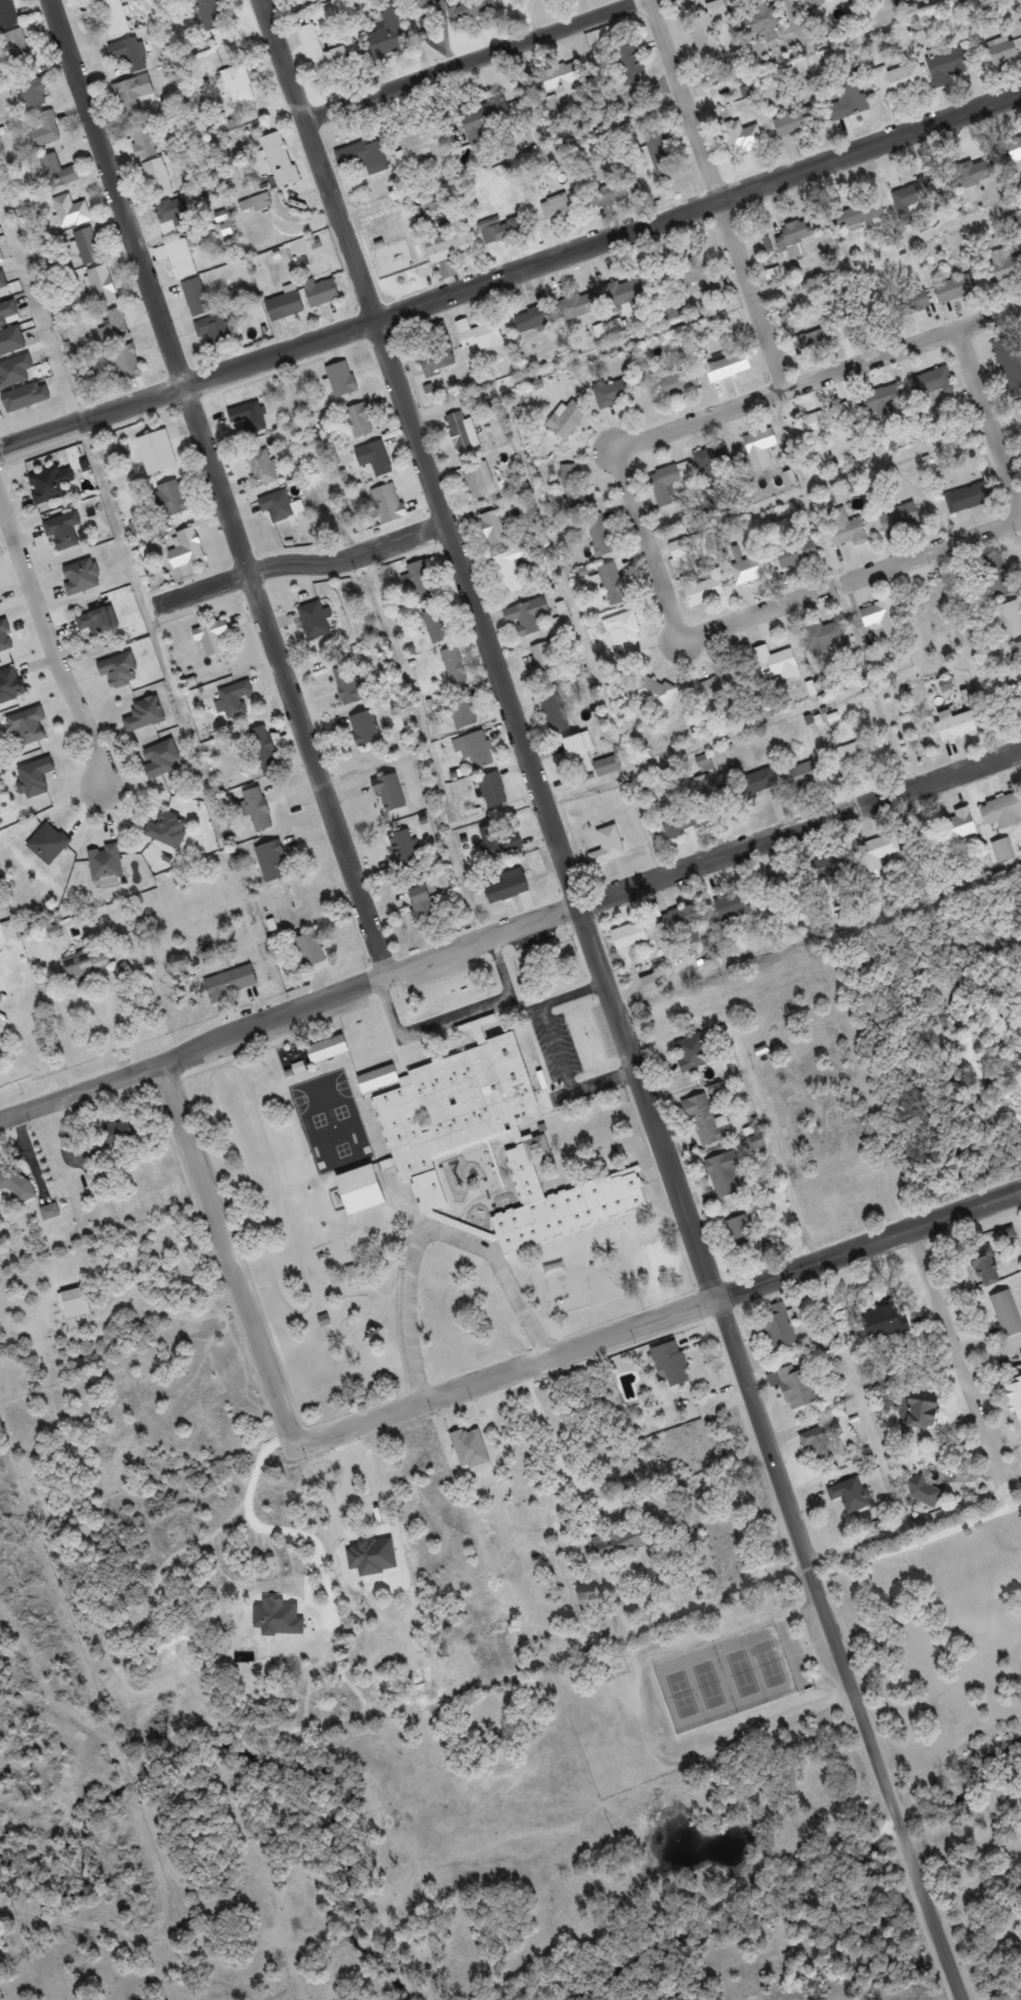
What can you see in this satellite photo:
building: (816, 2)
building: (469, 10)
building: (7, 14)
building: (211, 14)
building: (115, 17)
building: (760, 24)
building: (708, 33)
building: (386, 34)
building: (17, 48)
building: (128, 54)
road: (288, 55)
road: (478, 55)
building: (322, 56)
building: (1001, 56)
building: (631, 61)
building: (947, 66)
building: (563, 77)
building: (900, 80)
building: (237, 86)
building: (34, 93)
building: (131, 94)
building: (846, 102)
building: (483, 120)
building: (795, 123)
building: (45, 130)
building: (143, 142)
building: (746, 142)
building: (416, 145)
building: (1014, 150)
building: (660, 154)
building: (363, 156)
building: (279, 159)
building: (56, 172)
building: (977, 173)
building: (157, 179)
building: (915, 193)
road: (716, 195)
building: (607, 196)
building: (254, 202)
building: (557, 208)
building: (70, 212)
building: (864, 212)
building: (175, 215)
building: (500, 229)
building: (791, 238)
building: (765, 244)
building: (87, 246)
building: (451, 251)
building: (178, 257)
building: (1003, 265)
road: (511, 271)
building: (773, 274)
building: (692, 276)
building: (102, 285)
building: (955, 288)
building: (321, 292)
building: (624, 292)
building: (196, 298)
building: (916, 300)
road: (716, 303)
building: (284, 305)
building: (577, 306)
building: (253, 313)
building: (672, 313)
building: (533, 319)
building: (861, 322)
building: (114, 327)
building: (214, 329)
building: (479, 335)
building: (814, 341)
building: (437, 359)
building: (1008, 359)
building: (126, 364)
building: (728, 366)
road: (821, 377)
building: (88, 379)
building: (341, 379)
building: (679, 381)
building: (933, 383)
building: (613, 393)
building: (884, 399)
road: (992, 407)
building: (1018, 411)
building: (249, 417)
building: (824, 418)
building: (360, 419)
building: (567, 419)
building: (464, 435)
building: (760, 448)
building: (156, 452)
building: (862, 452)
building: (375, 458)
building: (713, 465)
building: (261, 469)
road: (823, 475)
building: (477, 481)
building: (50, 484)
building: (664, 484)
road: (225, 485)
building: (572, 487)
building: (171, 498)
building: (967, 498)
building: (388, 503)
building: (277, 506)
building: (898, 521)
building: (492, 528)
building: (846, 529)
building: (64, 532)
building: (600, 537)
road: (652, 538)
building: (186, 548)
building: (797, 553)
road: (307, 560)
building: (746, 566)
building: (510, 570)
road: (853, 575)
building: (996, 575)
building: (82, 576)
building: (419, 579)
building: (707, 586)
building: (615, 591)
building: (0, 601)
building: (528, 615)
building: (884, 617)
building: (1012, 617)
building: (97, 621)
building: (314, 621)
building: (437, 627)
road: (51, 630)
building: (823, 634)
building: (625, 635)
building: (5, 637)
building: (211, 637)
road: (975, 648)
building: (1019, 649)
building: (542, 661)
building: (775, 664)
building: (454, 667)
building: (119, 670)
building: (10, 685)
building: (721, 685)
building: (944, 685)
building: (349, 686)
building: (656, 693)
building: (234, 699)
road: (513, 702)
building: (1017, 703)
building: (554, 713)
building: (144, 715)
building: (463, 715)
building: (28, 725)
building: (956, 725)
road: (628, 727)
building: (365, 729)
building: (479, 750)
building: (264, 751)
building: (854, 754)
building: (587, 757)
building: (162, 759)
building: (801, 776)
building: (34, 778)
building: (760, 781)
building: (493, 790)
building: (390, 793)
building: (714, 795)
building: (257, 810)
building: (1002, 812)
building: (679, 823)
building: (958, 827)
building: (168, 830)
building: (500, 840)
building: (608, 846)
building: (880, 848)
building: (404, 850)
building: (1003, 850)
building: (272, 862)
building: (106, 866)
building: (834, 867)
building: (786, 882)
building: (507, 885)
building: (423, 905)
building: (735, 907)
building: (679, 919)
road: (509, 929)
building: (9, 933)
building: (629, 937)
building: (309, 950)
building: (87, 962)
building: (230, 983)
building: (1019, 996)
building: (1002, 1011)
building: (987, 1027)
building: (332, 1040)
building: (691, 1052)
building: (707, 1122)
building: (117, 1132)
building: (480, 1134)
building: (725, 1174)
building: (97, 1176)
building: (18, 1183)
building: (50, 1211)
building: (741, 1232)
road: (871, 1237)
road: (232, 1249)
building: (986, 1268)
building: (351, 1274)
building: (74, 1303)
building: (1006, 1313)
building: (885, 1321)
building: (779, 1327)
building: (674, 1353)
road: (959, 1362)
road: (510, 1367)
building: (797, 1387)
road: (867, 1396)
building: (1015, 1398)
building: (920, 1408)
building: (820, 1439)
road: (557, 1448)
building: (924, 1491)
building: (850, 1494)
road: (1015, 1500)
building: (621, 1533)
road: (911, 1536)
road: (840, 1648)
park: (699, 1686)

